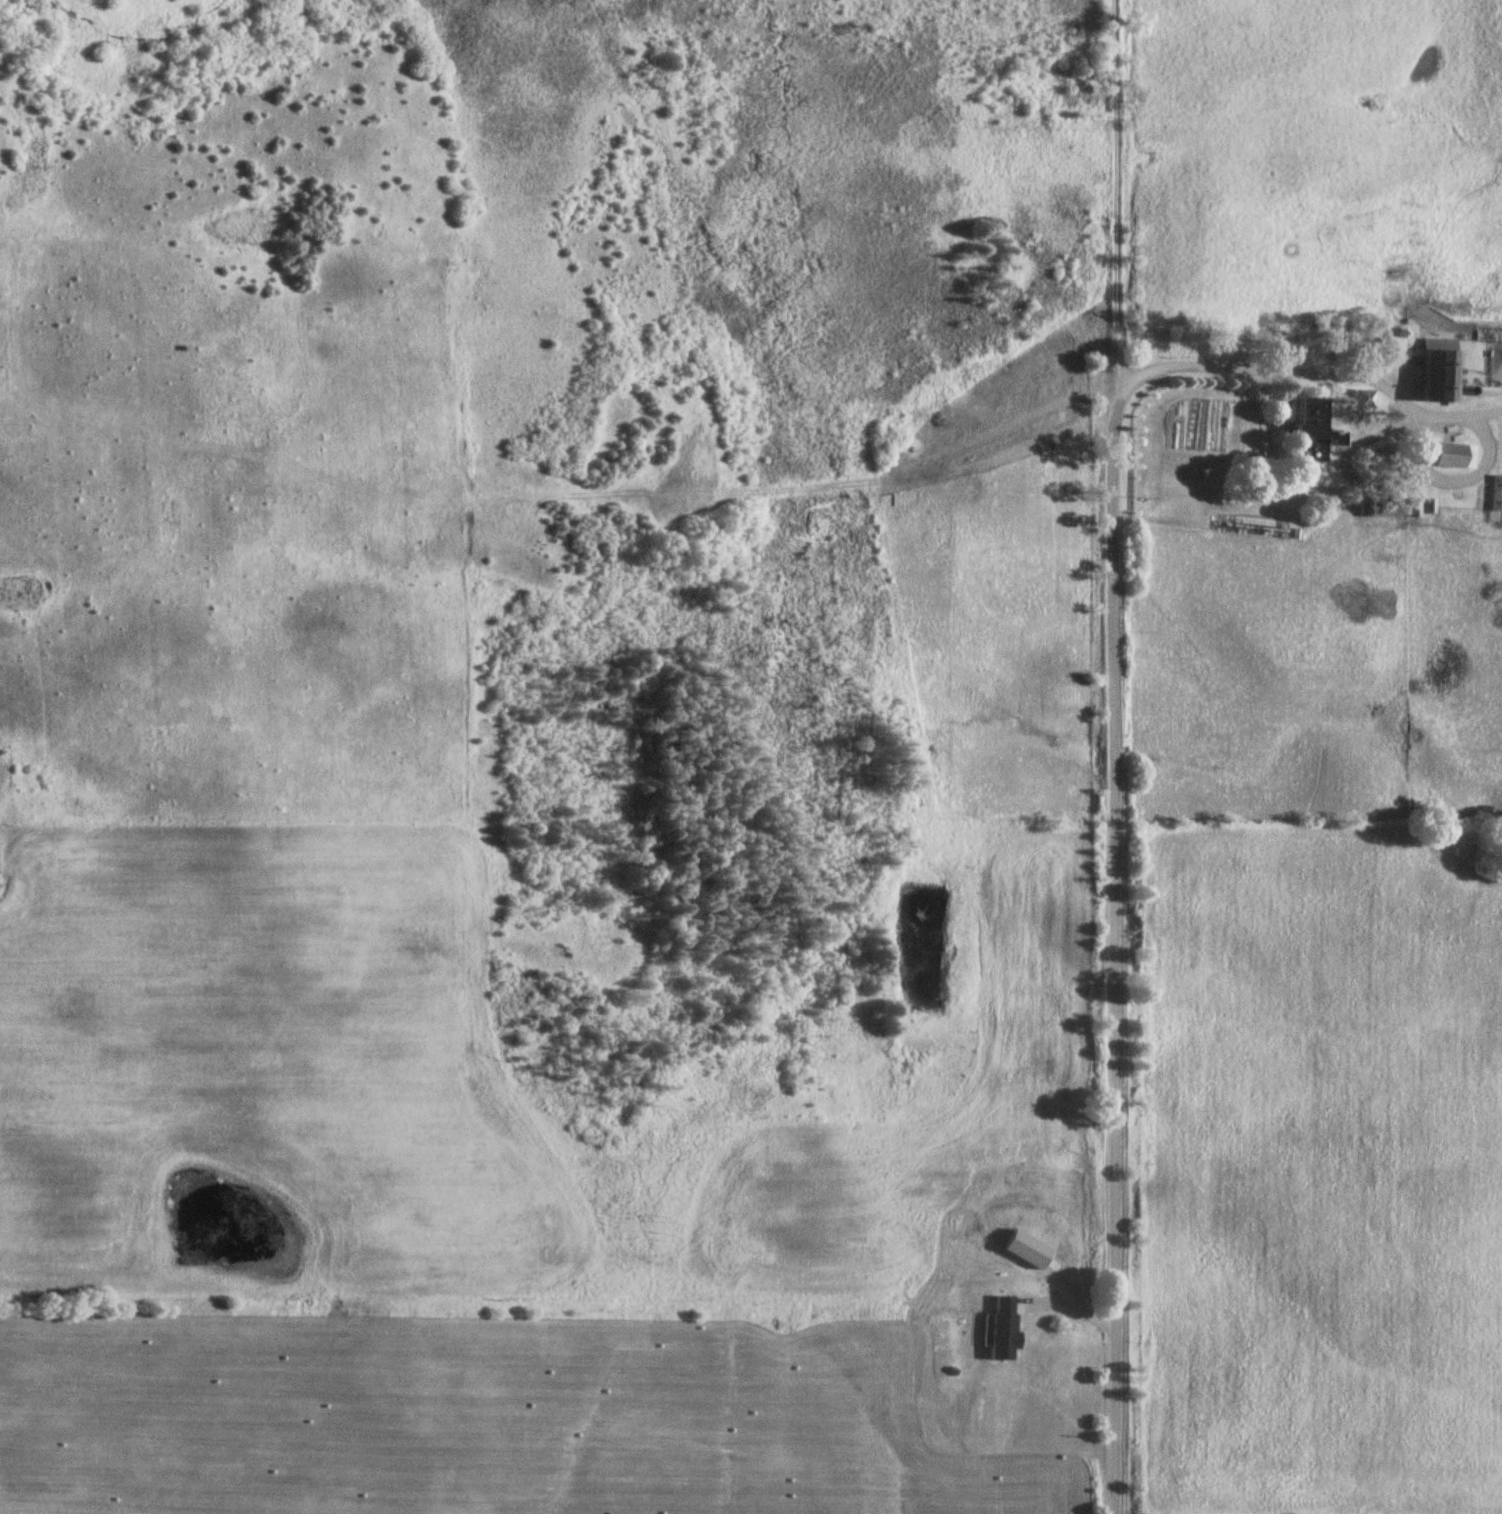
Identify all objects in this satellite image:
building: (1440, 373)
building: (1308, 430)
building: (1335, 438)
building: (1453, 456)
building: (1495, 494)
building: (1413, 508)
road: (1113, 757)

